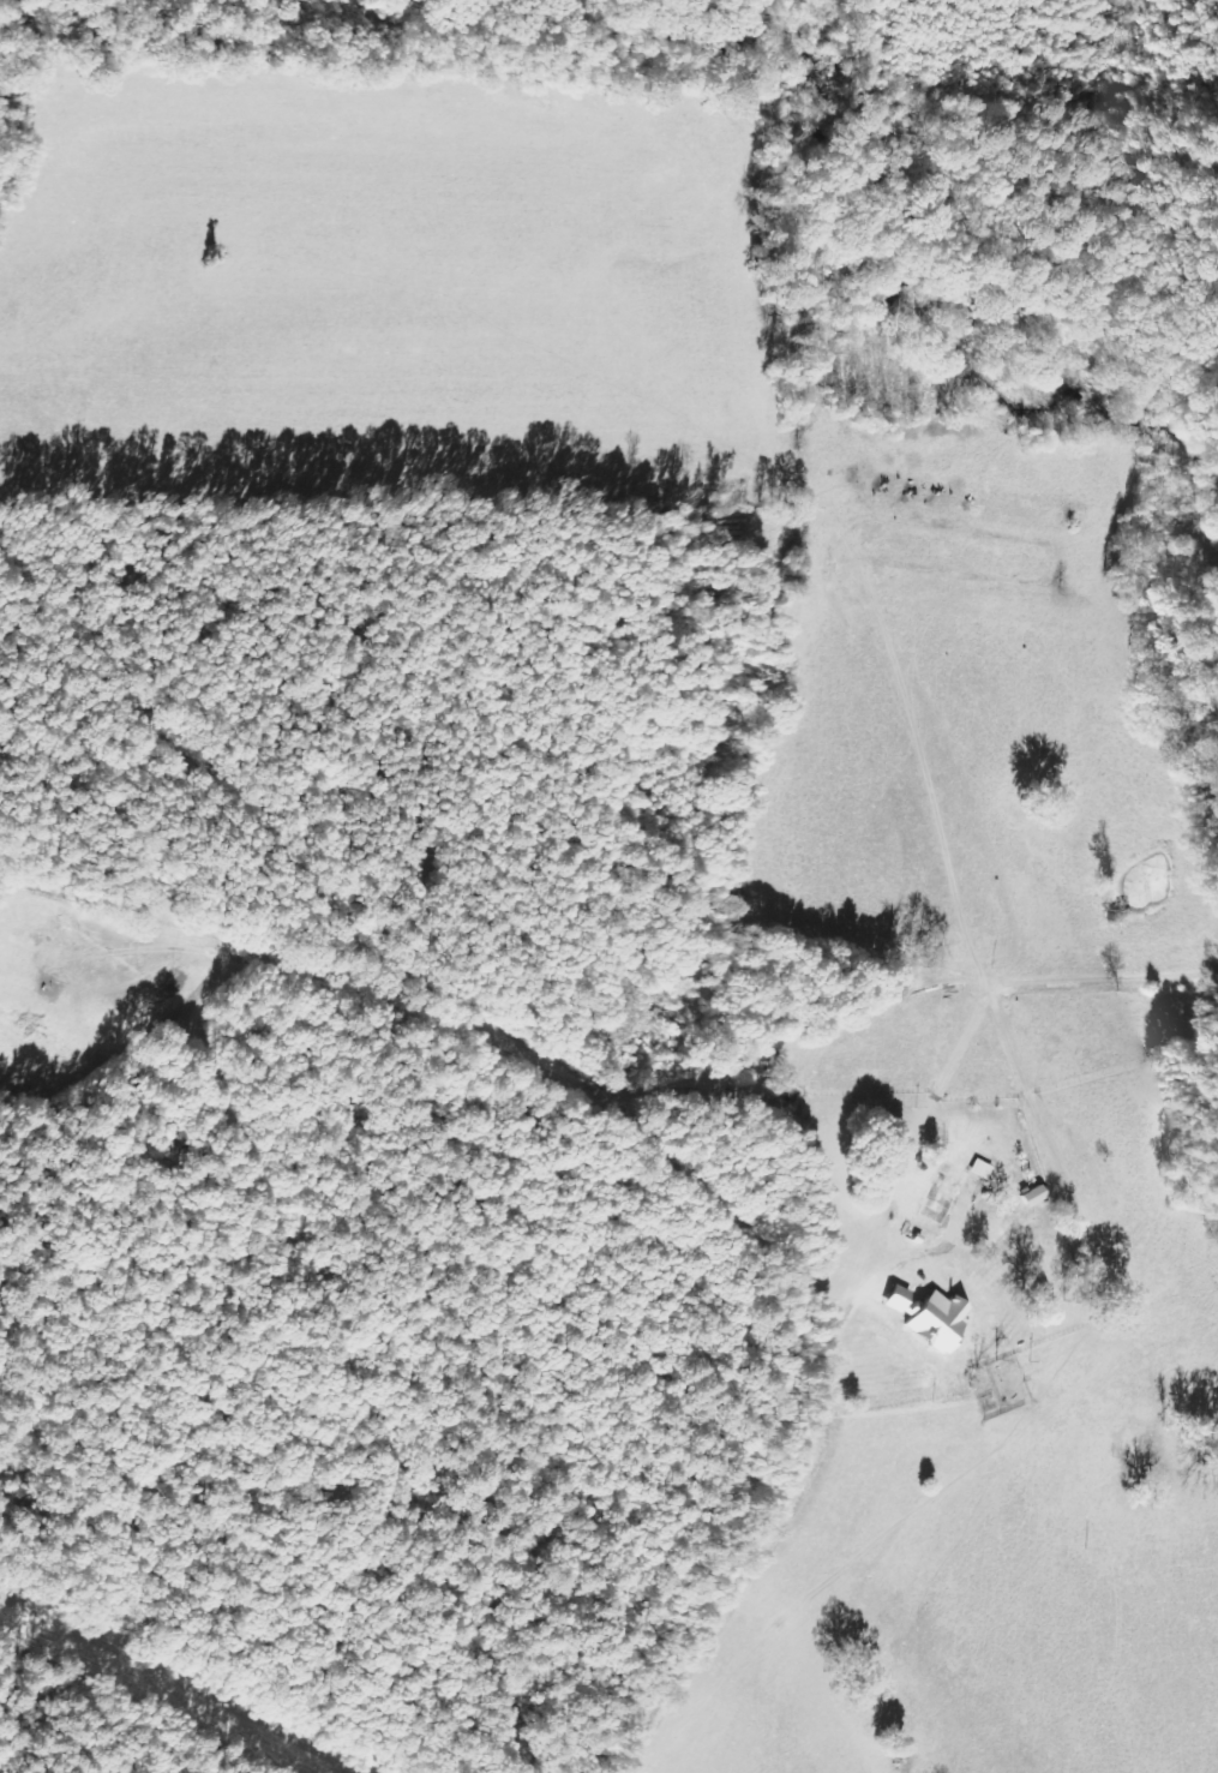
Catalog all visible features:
building: (958, 1188)
road: (854, 1229)
building: (936, 1318)

